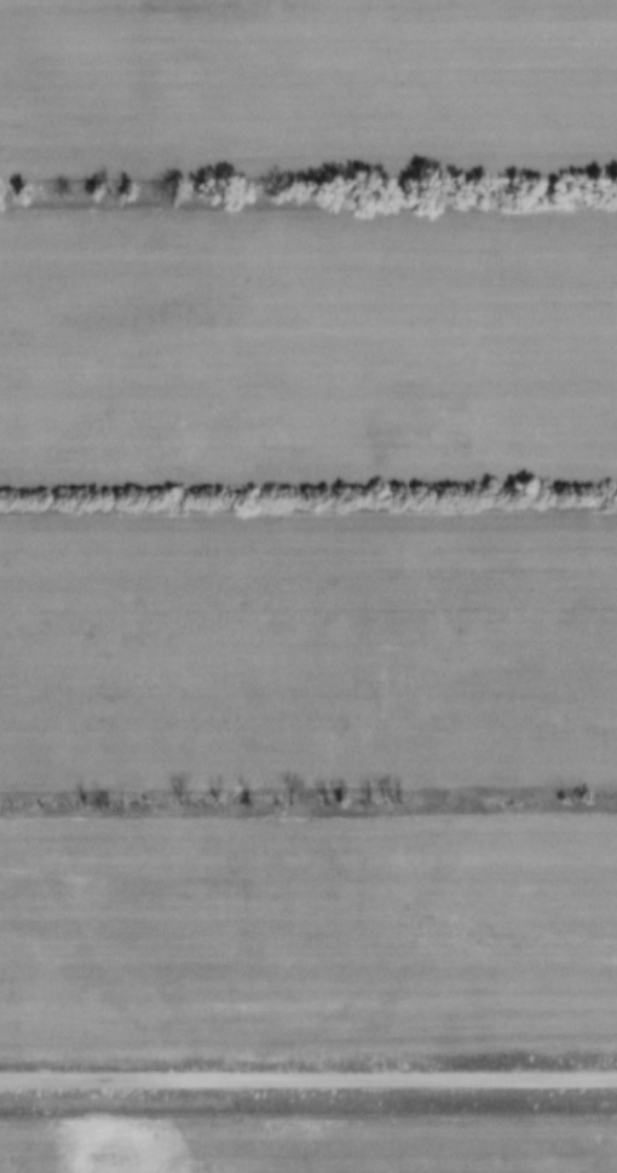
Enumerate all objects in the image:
road: (308, 1088)

